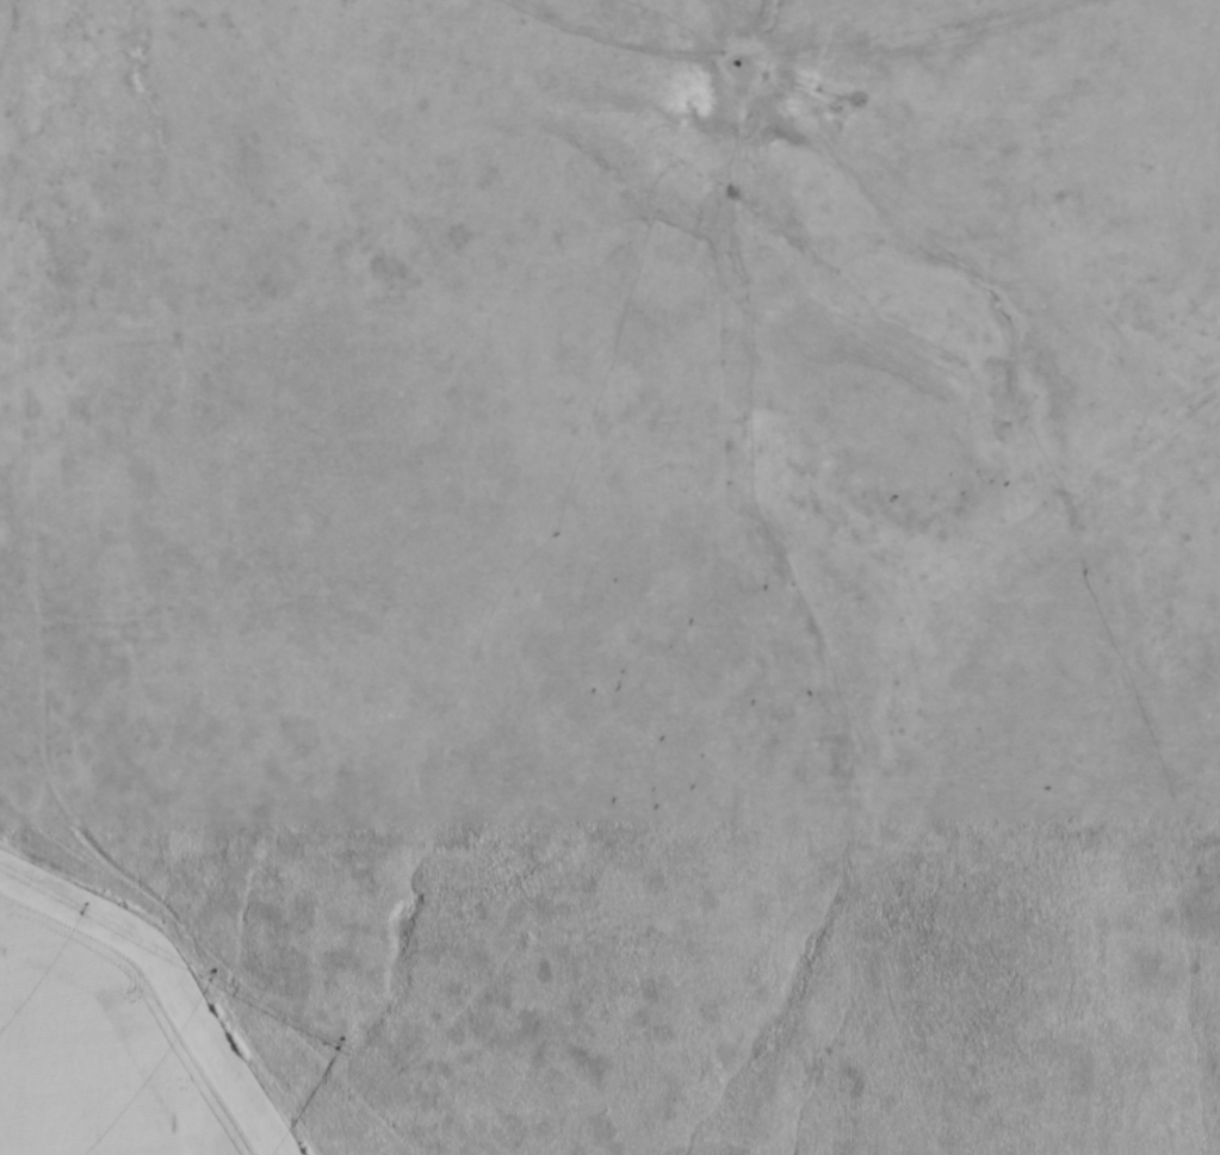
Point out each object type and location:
crop: (116, 1032)

